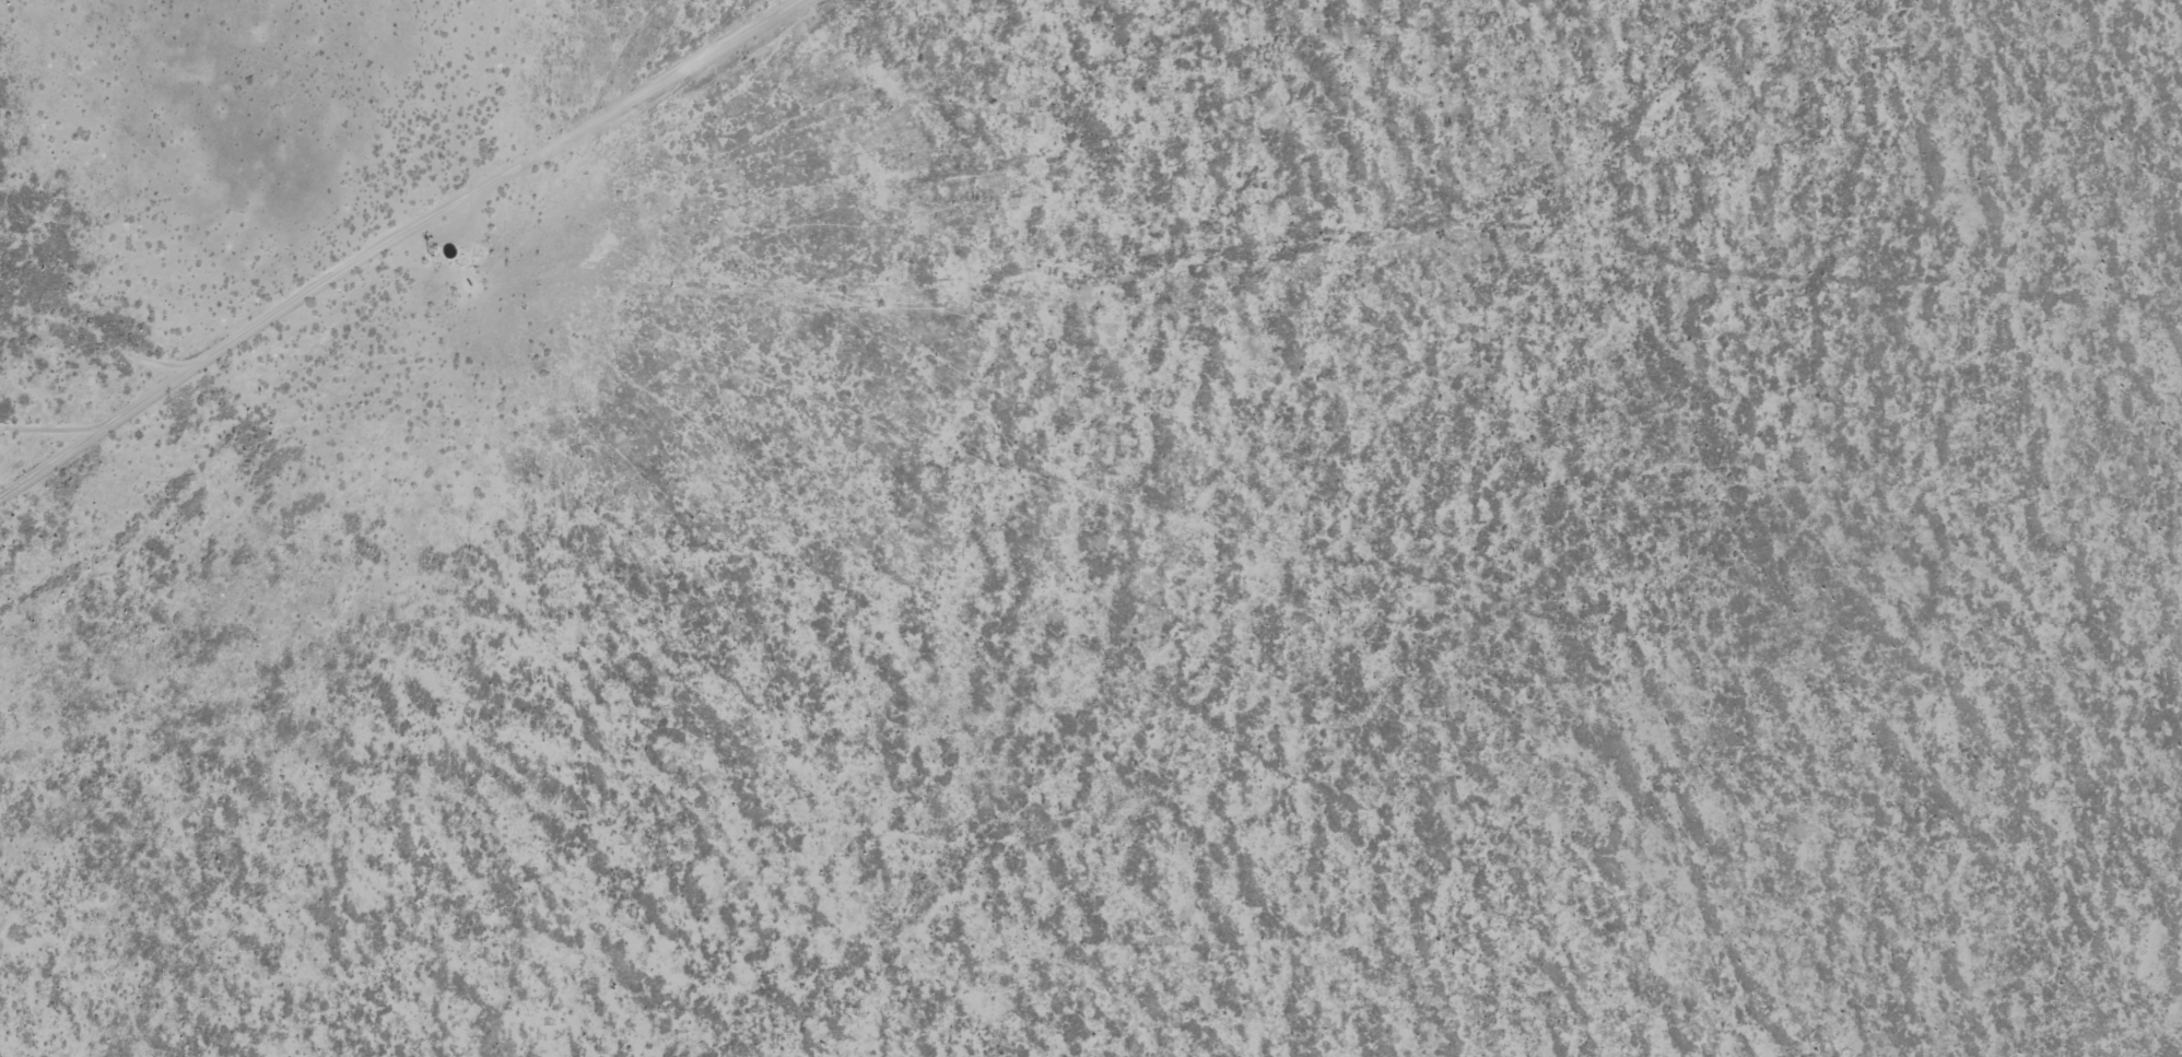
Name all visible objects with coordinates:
road: (425, 260)

